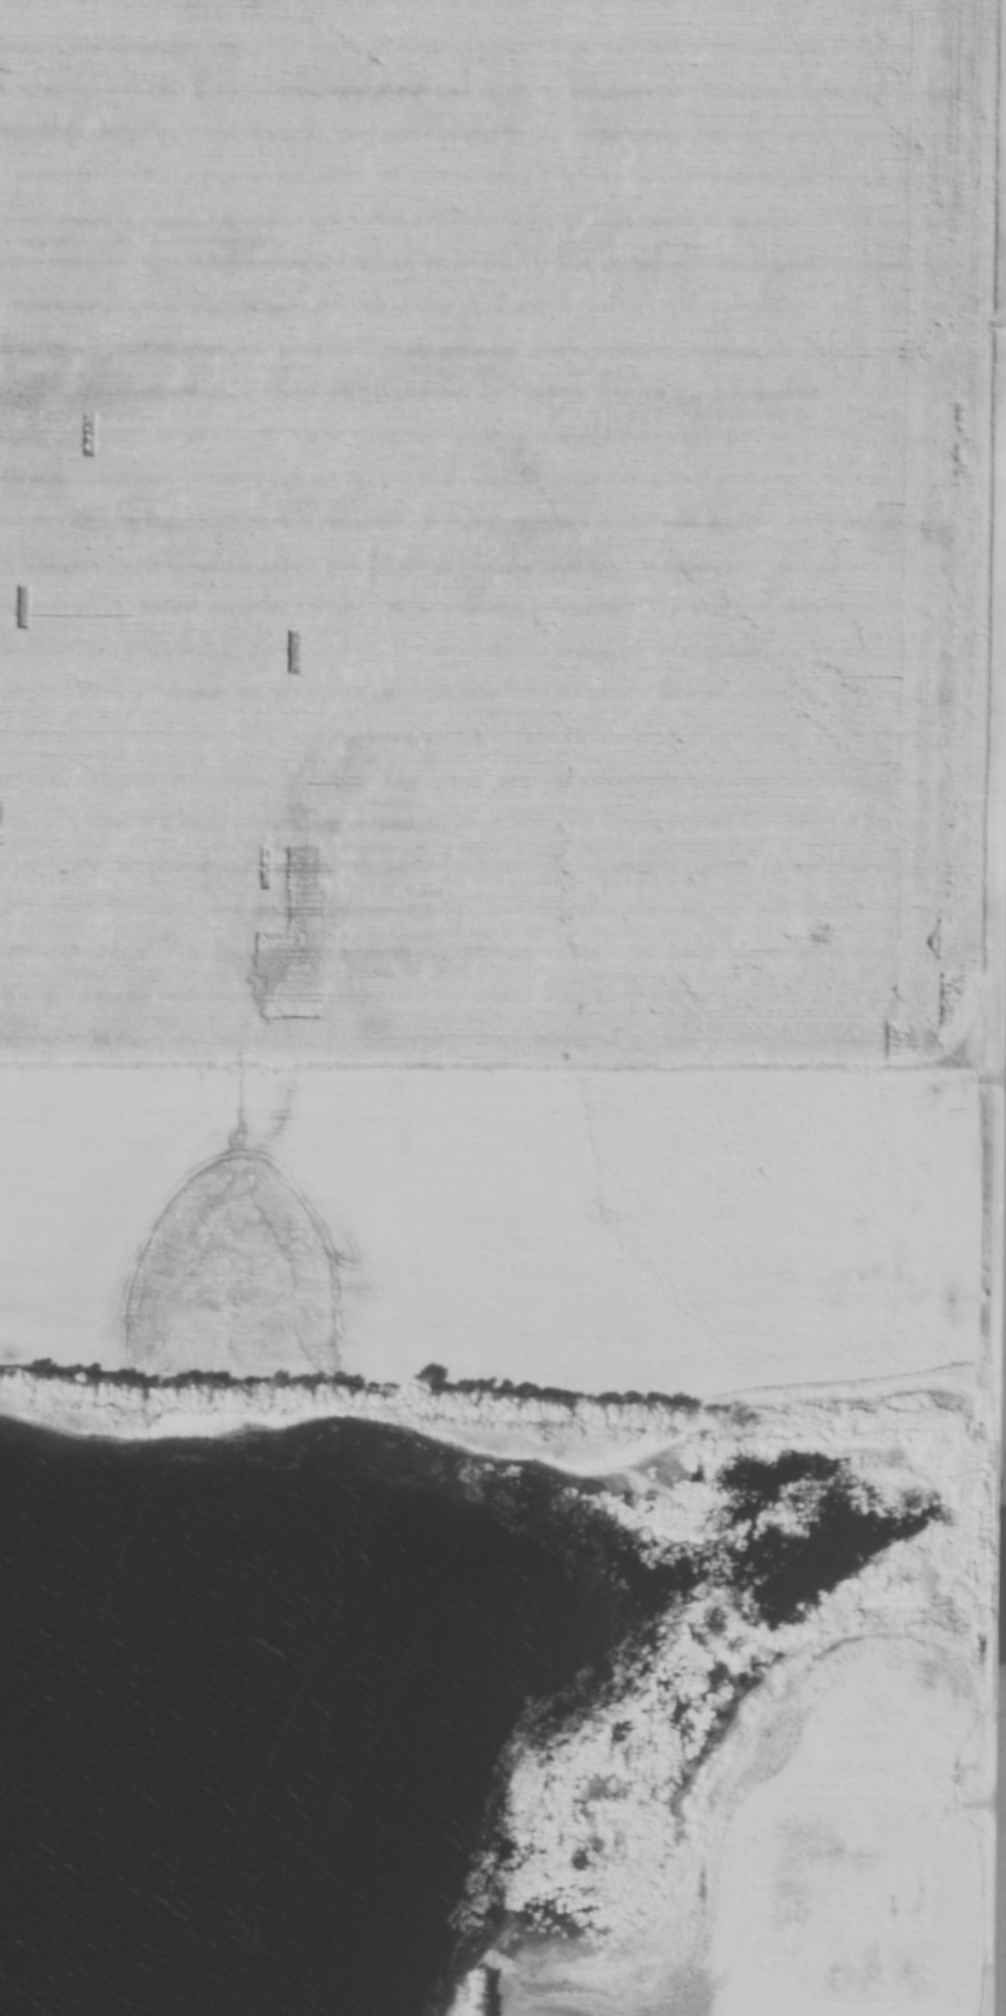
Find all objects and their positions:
road: (1002, 1827)

